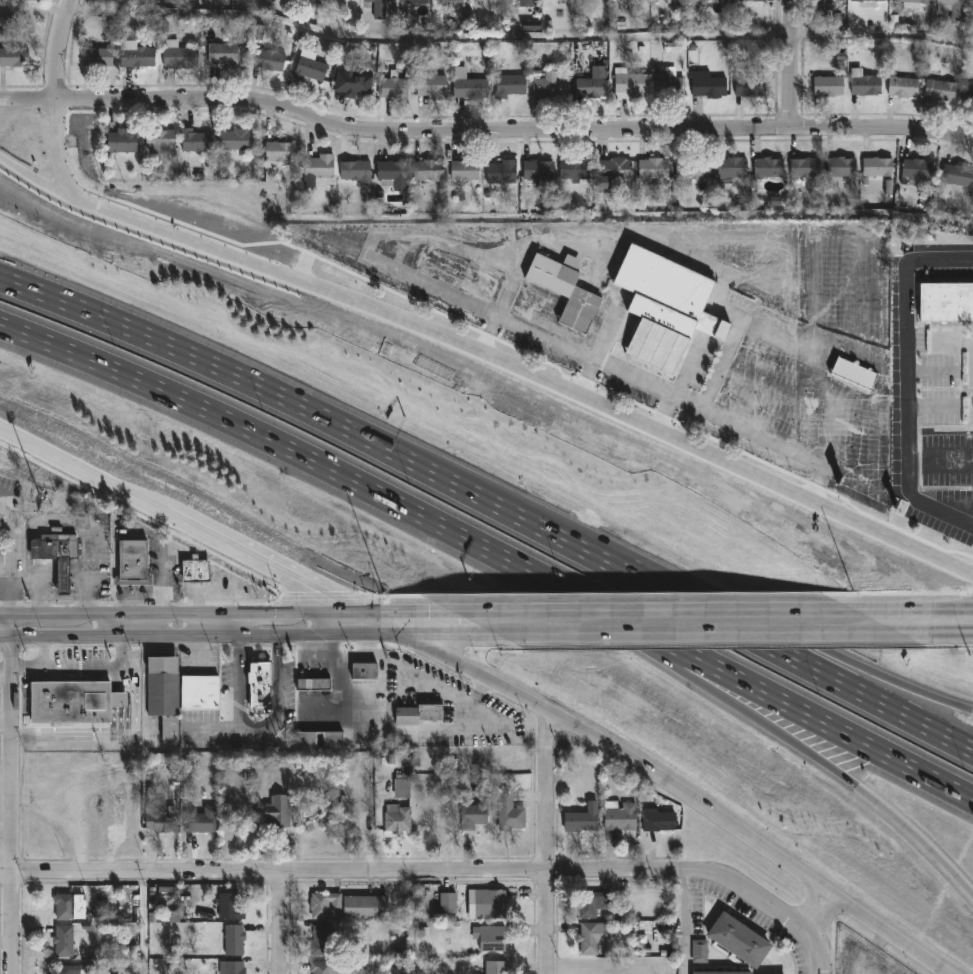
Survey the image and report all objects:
building: (34, 0)
building: (451, 0)
building: (752, 0)
building: (672, 1)
building: (709, 1)
building: (417, 2)
building: (449, 3)
building: (697, 3)
building: (909, 3)
building: (822, 4)
building: (861, 6)
building: (380, 7)
road: (35, 9)
building: (952, 9)
road: (58, 50)
building: (225, 54)
building: (15, 57)
building: (99, 57)
building: (139, 57)
building: (183, 58)
building: (271, 59)
road: (791, 64)
building: (311, 67)
building: (354, 82)
building: (510, 82)
building: (666, 82)
building: (627, 84)
building: (471, 85)
building: (705, 85)
building: (863, 85)
building: (434, 86)
building: (552, 86)
building: (825, 86)
building: (593, 87)
building: (748, 87)
building: (900, 87)
building: (394, 88)
building: (937, 90)
building: (966, 96)
road: (28, 105)
road: (512, 131)
building: (161, 140)
building: (238, 140)
building: (124, 141)
building: (198, 141)
building: (281, 151)
road: (58, 158)
building: (322, 167)
building: (729, 167)
building: (765, 167)
building: (838, 167)
building: (875, 167)
building: (691, 168)
building: (801, 168)
building: (655, 169)
building: (541, 170)
building: (577, 170)
building: (913, 170)
building: (430, 171)
building: (467, 171)
building: (358, 172)
building: (504, 172)
building: (614, 172)
building: (395, 175)
building: (955, 176)
building: (888, 188)
road: (409, 277)
road: (31, 286)
road: (31, 289)
building: (570, 290)
road: (504, 300)
building: (946, 302)
building: (660, 311)
road: (706, 328)
road: (738, 329)
road: (490, 358)
road: (931, 370)
building: (849, 374)
road: (586, 379)
road: (680, 384)
road: (908, 384)
road: (775, 393)
road: (291, 401)
road: (931, 407)
road: (281, 446)
road: (4, 511)
road: (55, 520)
road: (179, 524)
building: (56, 556)
road: (12, 559)
building: (133, 560)
building: (196, 572)
road: (161, 582)
road: (681, 582)
road: (912, 608)
road: (697, 609)
road: (497, 610)
road: (226, 615)
road: (381, 623)
road: (230, 625)
road: (131, 627)
road: (936, 632)
road: (699, 633)
road: (744, 633)
road: (249, 636)
road: (649, 650)
road: (43, 652)
road: (121, 652)
road: (67, 666)
building: (368, 670)
road: (473, 672)
road: (121, 679)
building: (317, 683)
building: (264, 685)
road: (907, 686)
building: (203, 692)
road: (763, 692)
building: (166, 694)
building: (78, 701)
road: (121, 701)
building: (434, 711)
road: (331, 712)
building: (408, 715)
road: (213, 727)
road: (258, 731)
road: (418, 733)
road: (81, 736)
building: (323, 738)
building: (401, 784)
road: (675, 792)
road: (868, 795)
road: (17, 796)
building: (284, 810)
building: (512, 811)
building: (476, 815)
building: (584, 816)
building: (622, 816)
building: (400, 818)
building: (163, 819)
building: (201, 819)
building: (658, 820)
road: (548, 841)
road: (343, 871)
road: (824, 890)
road: (771, 902)
road: (810, 902)
building: (450, 903)
building: (492, 903)
building: (594, 903)
building: (327, 904)
building: (68, 905)
building: (232, 907)
building: (368, 907)
road: (822, 911)
road: (281, 922)
road: (685, 922)
building: (492, 937)
building: (738, 937)
building: (593, 938)
road: (895, 939)
building: (65, 940)
building: (236, 940)
building: (324, 941)
building: (699, 951)
building: (233, 967)
building: (323, 967)
building: (498, 967)
building: (68, 969)
building: (723, 972)

